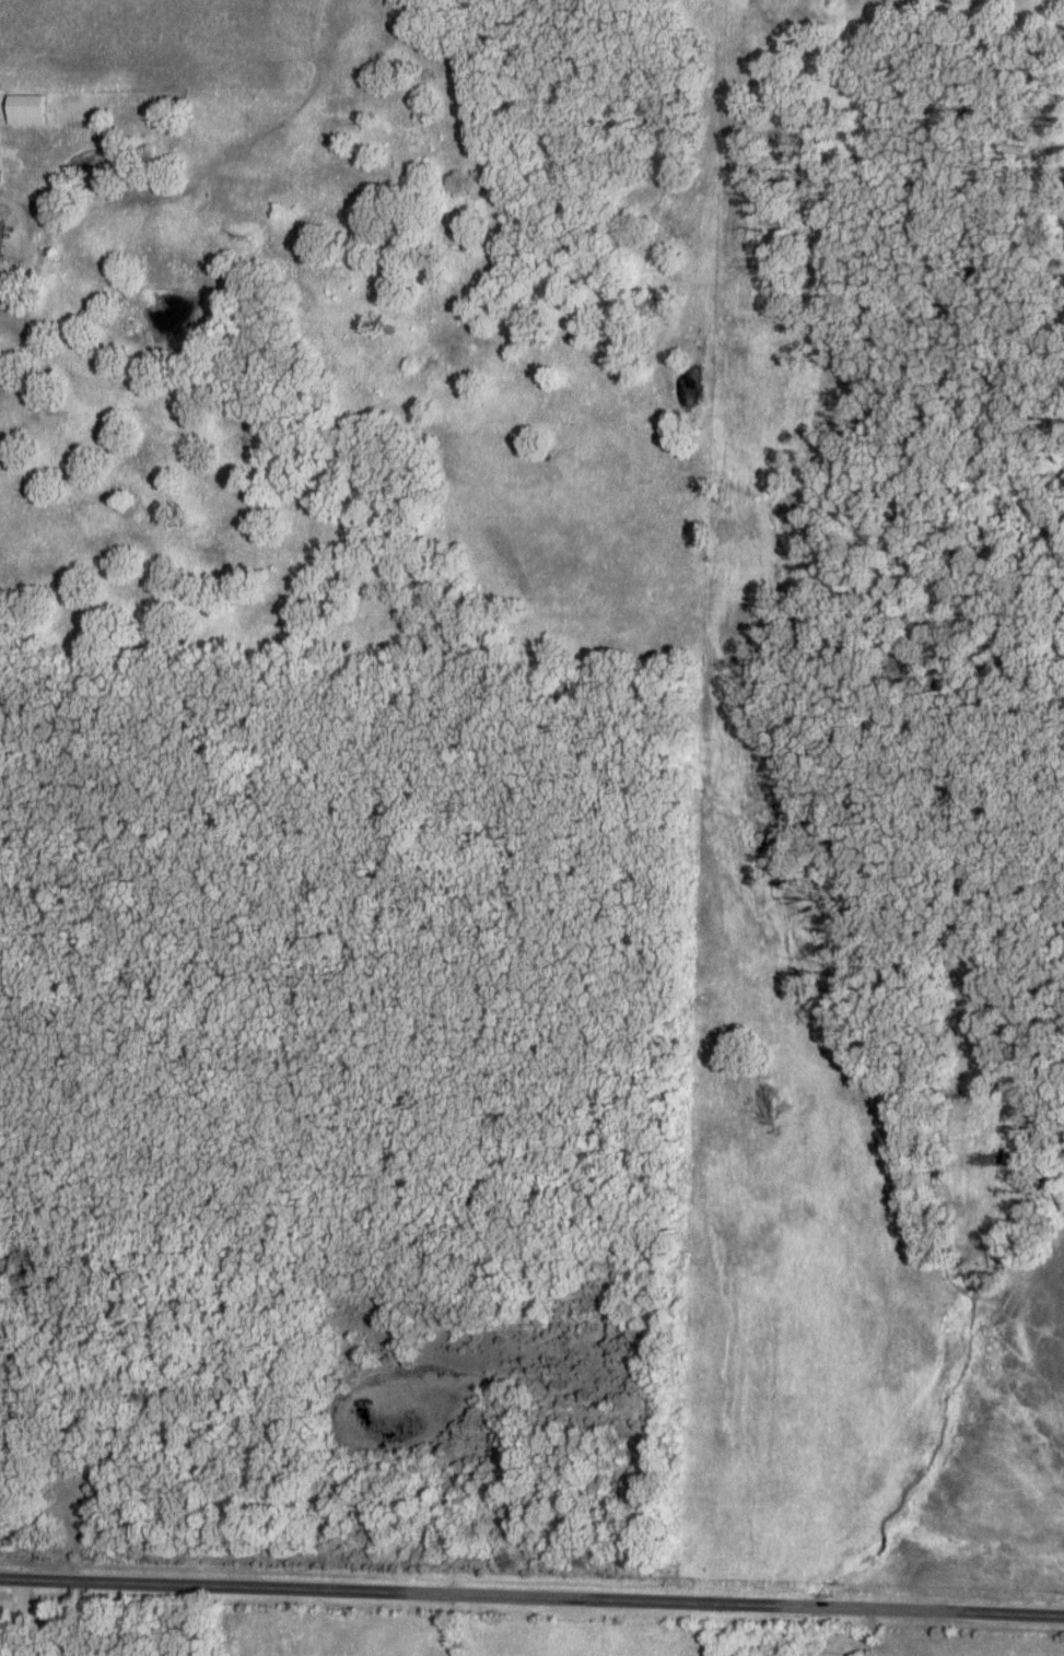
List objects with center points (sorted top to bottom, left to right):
building: (25, 107)
building: (1, 235)
road: (27, 237)
road: (531, 1594)
road: (899, 1632)

